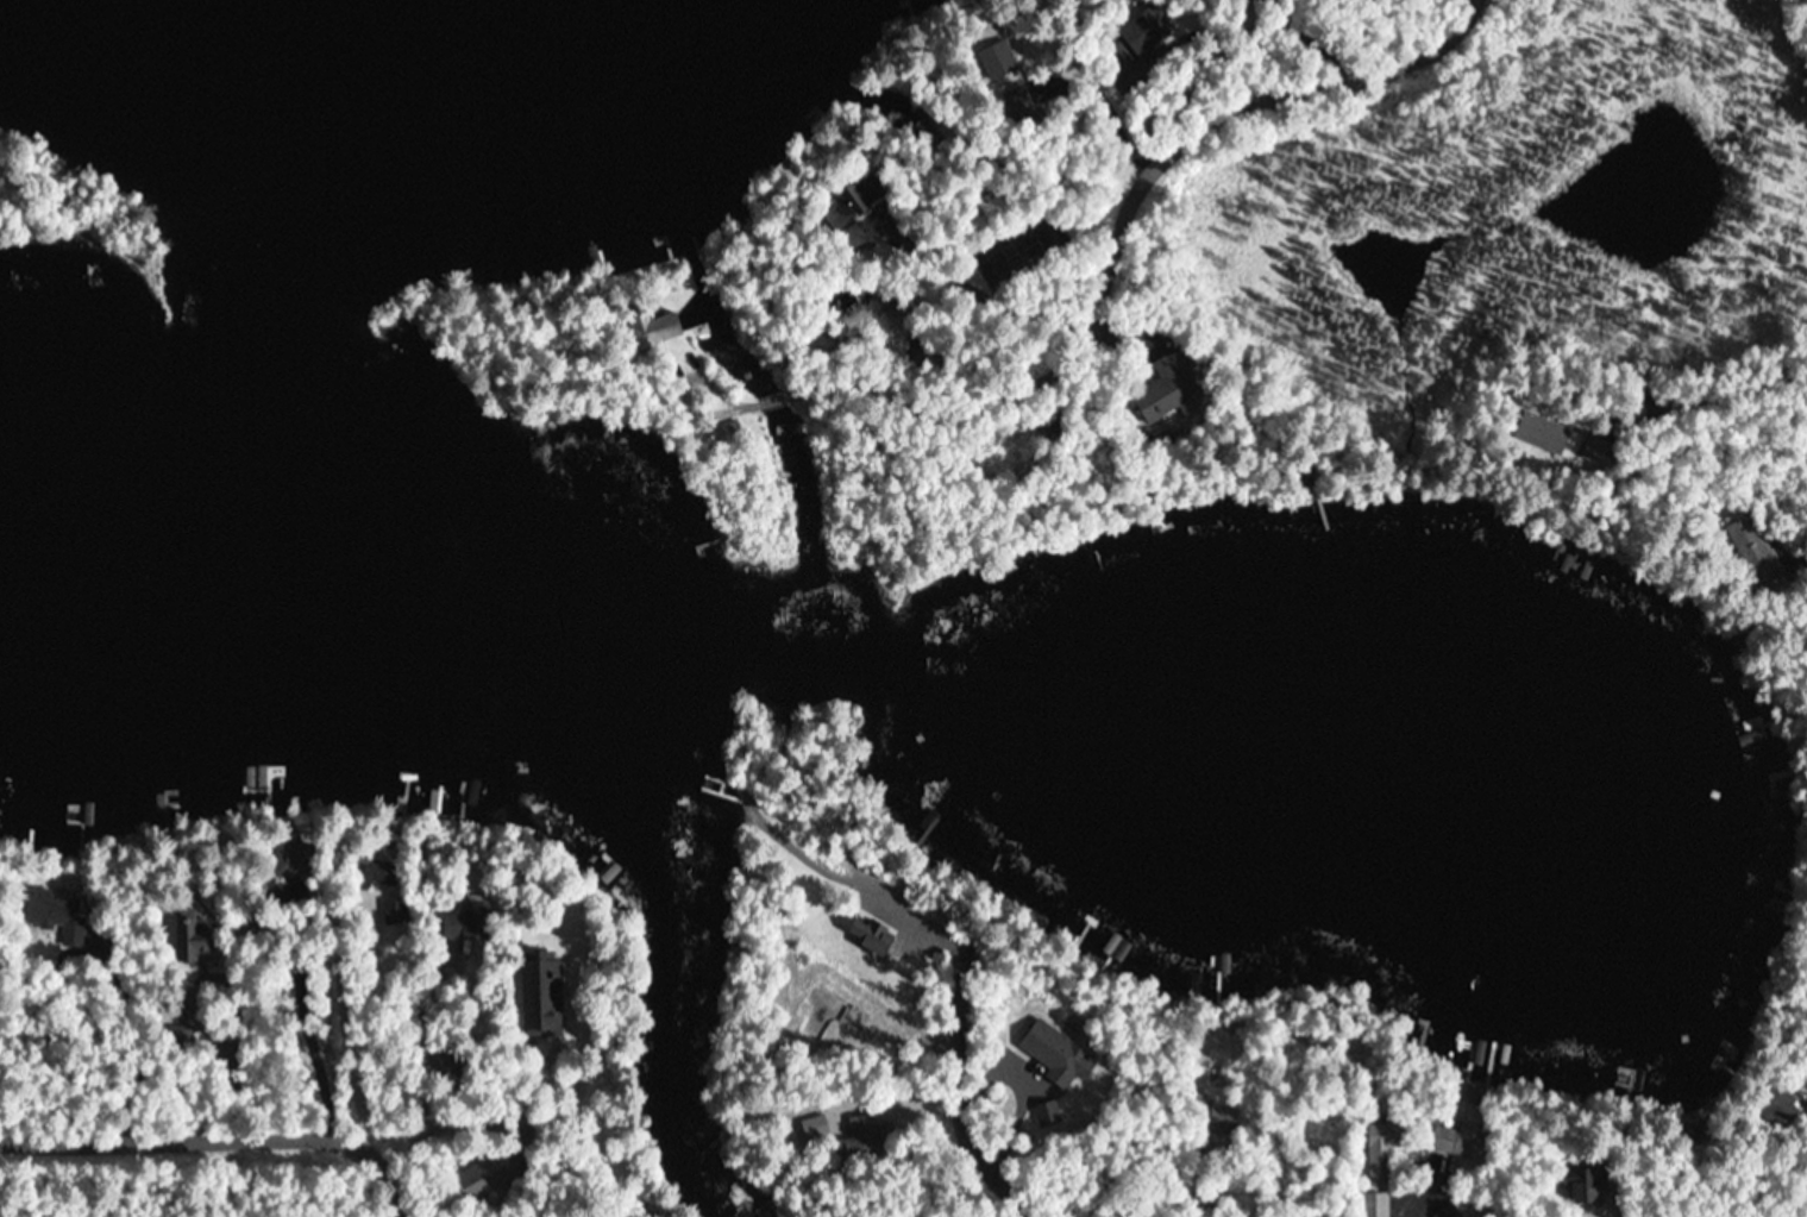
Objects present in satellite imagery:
building: (890, 19)
building: (1147, 36)
building: (1118, 58)
building: (993, 61)
building: (1017, 101)
road: (1194, 142)
building: (852, 201)
building: (992, 207)
building: (853, 234)
building: (660, 327)
road: (871, 369)
building: (1167, 390)
road: (723, 391)
road: (779, 401)
building: (726, 433)
building: (1541, 434)
building: (1748, 542)
building: (288, 858)
building: (375, 872)
building: (55, 914)
building: (465, 923)
building: (192, 936)
building: (541, 993)
building: (853, 1018)
building: (1053, 1052)
building: (1217, 1074)
road: (933, 1098)
building: (1777, 1106)
building: (1223, 1118)
building: (815, 1127)
building: (860, 1128)
road: (220, 1133)
building: (1458, 1138)
building: (1381, 1154)
building: (483, 1177)
building: (1590, 1186)
road: (1580, 1190)
building: (1375, 1204)

